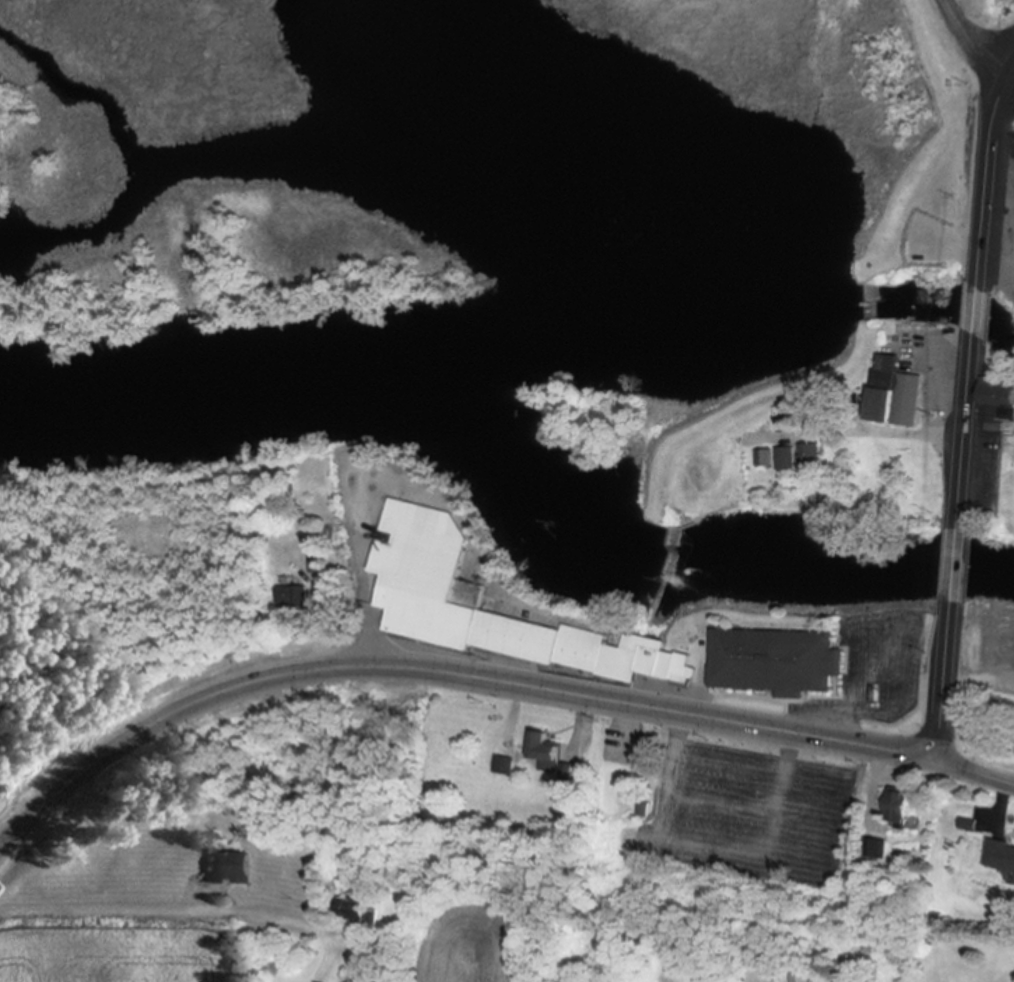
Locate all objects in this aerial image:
road: (972, 40)
road: (1012, 71)
road: (988, 166)
river: (692, 311)
road: (976, 311)
building: (894, 395)
building: (996, 404)
road: (966, 429)
building: (809, 455)
building: (763, 458)
building: (784, 459)
river: (511, 470)
building: (318, 564)
road: (955, 566)
building: (432, 596)
building: (293, 597)
road: (321, 629)
road: (862, 637)
building: (775, 662)
road: (445, 672)
road: (944, 691)
building: (544, 752)
building: (503, 766)
road: (760, 769)
road: (975, 770)
road: (876, 784)
road: (781, 796)
road: (1005, 799)
building: (899, 808)
road: (753, 810)
road: (683, 847)
building: (877, 850)
building: (1000, 857)
building: (229, 868)
road: (115, 910)
building: (353, 910)
building: (804, 978)

